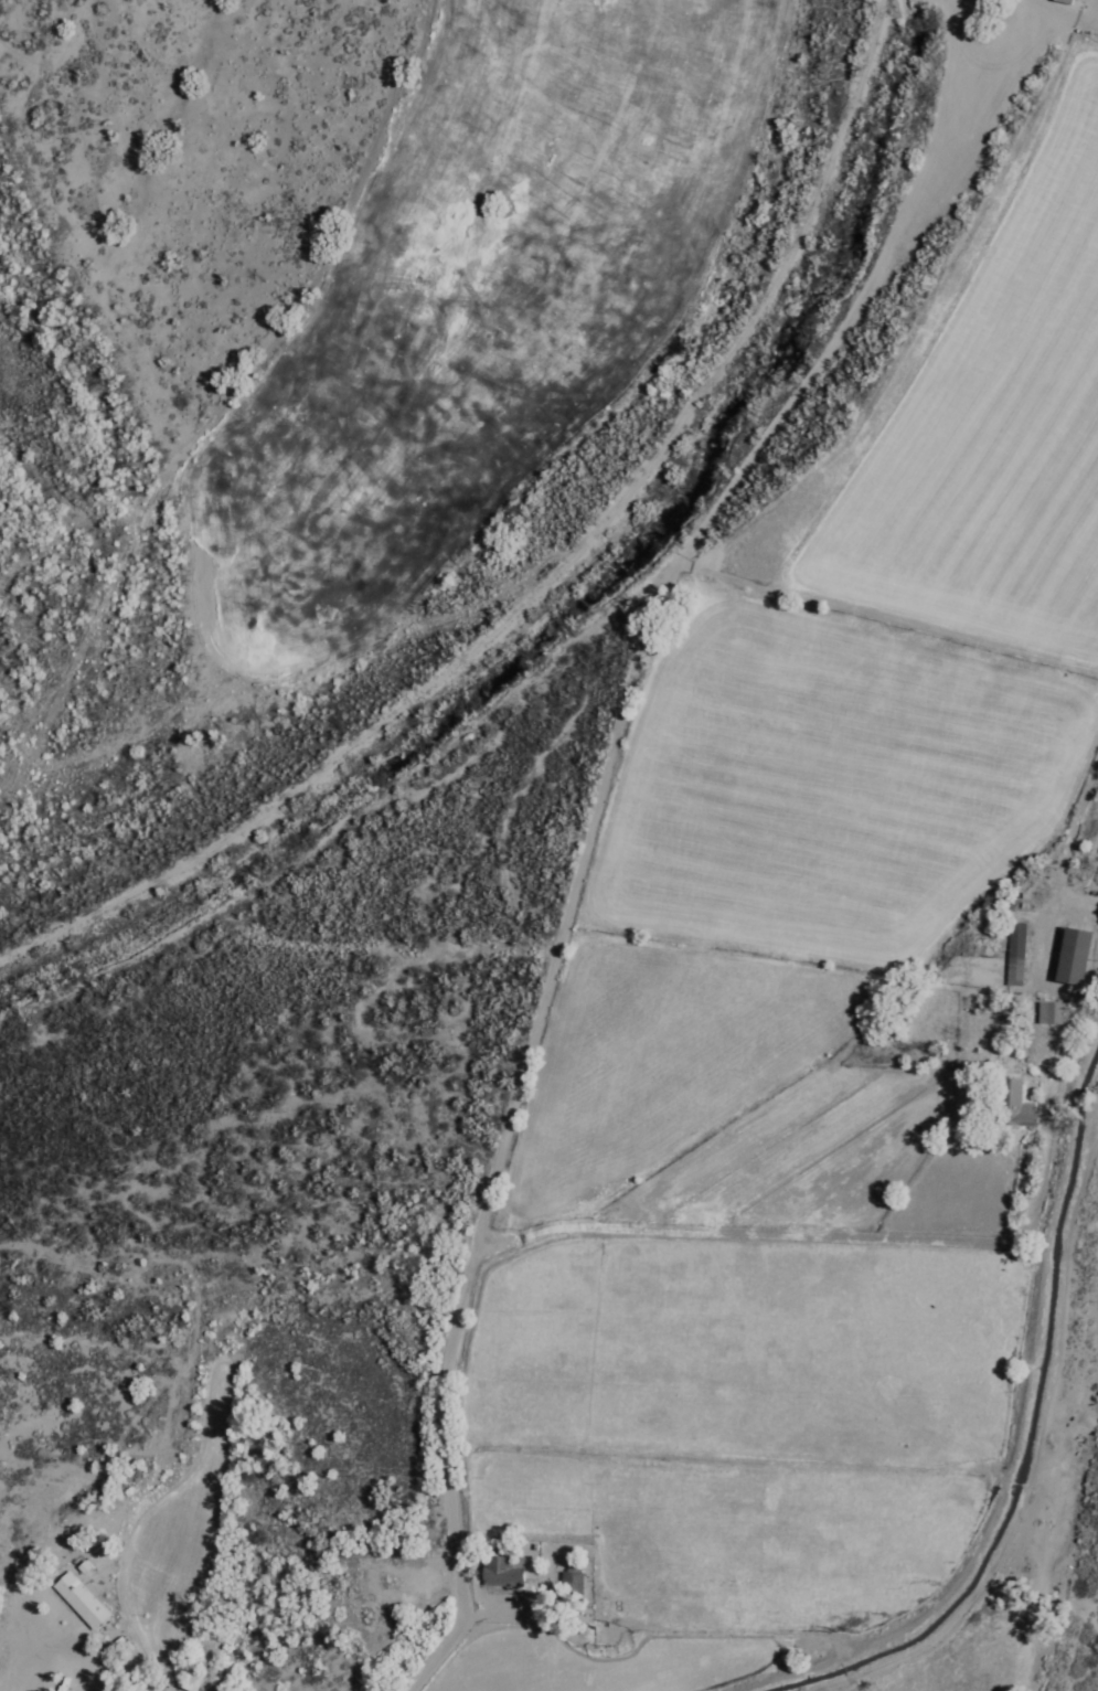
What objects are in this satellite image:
building: (1016, 956)
building: (1072, 957)
building: (1054, 1014)
building: (1021, 1114)
road: (740, 1233)
road: (472, 1256)
road: (1033, 1475)
building: (504, 1572)
building: (574, 1581)
building: (83, 1602)
building: (196, 1681)

